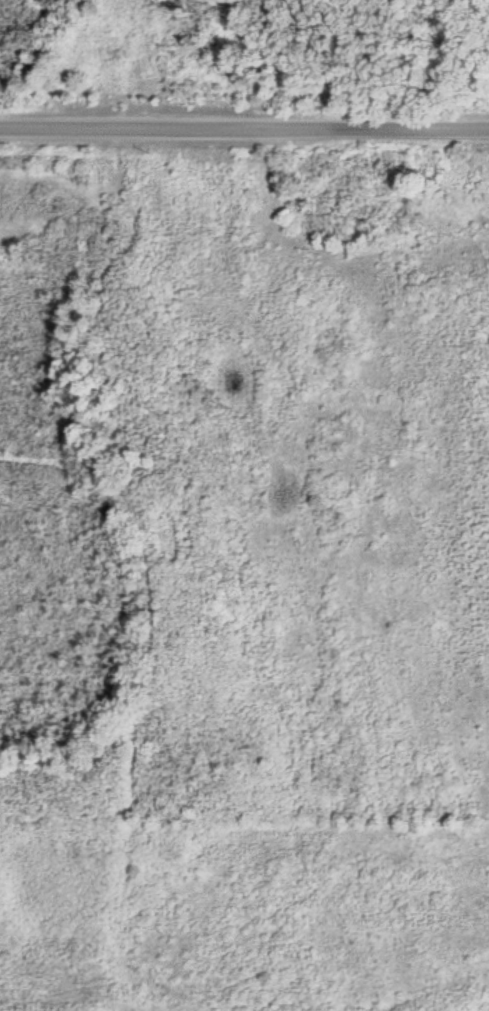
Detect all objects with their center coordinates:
road: (244, 124)

